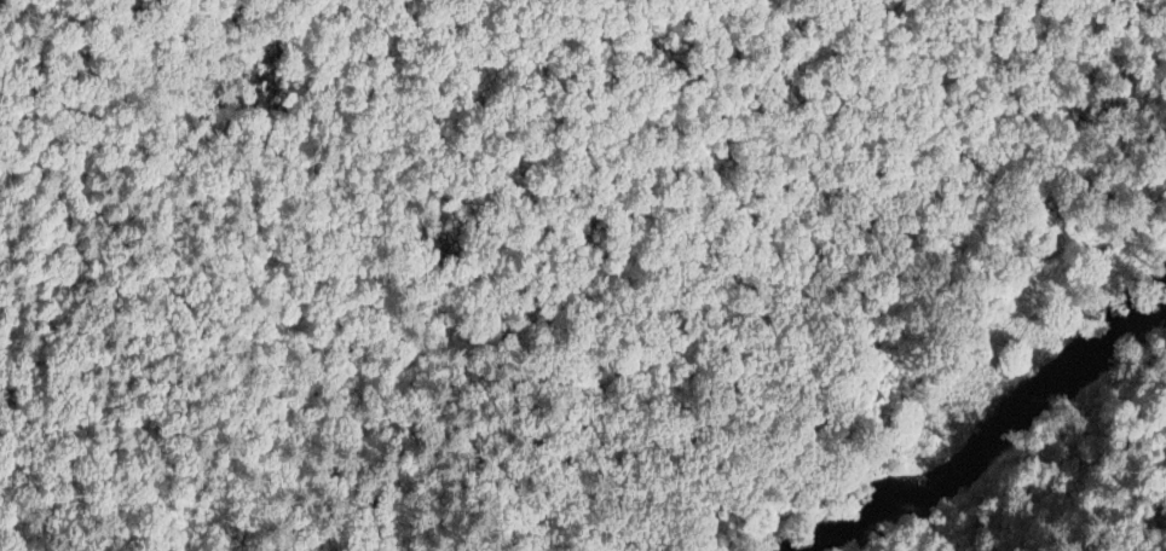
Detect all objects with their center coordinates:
road: (899, 259)
river: (998, 435)
road: (351, 468)
road: (224, 536)

